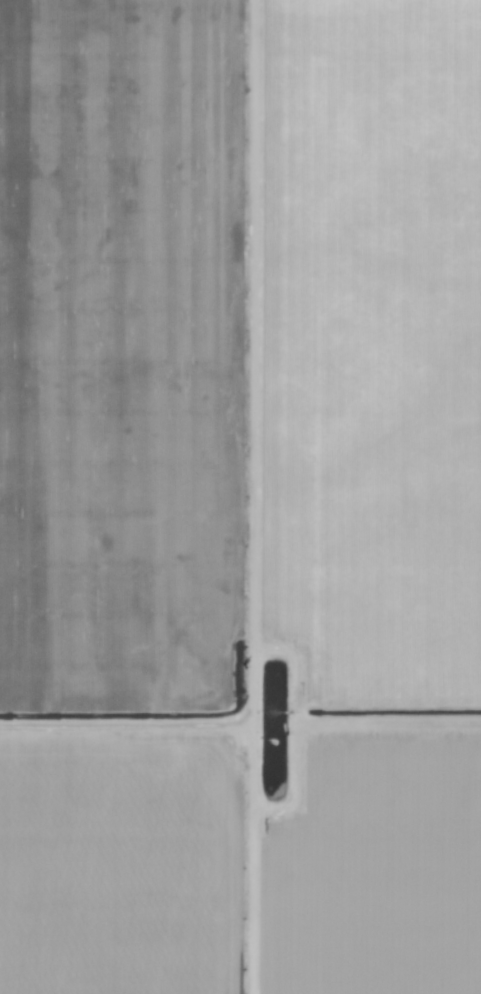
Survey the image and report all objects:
crop: (240, 497)

